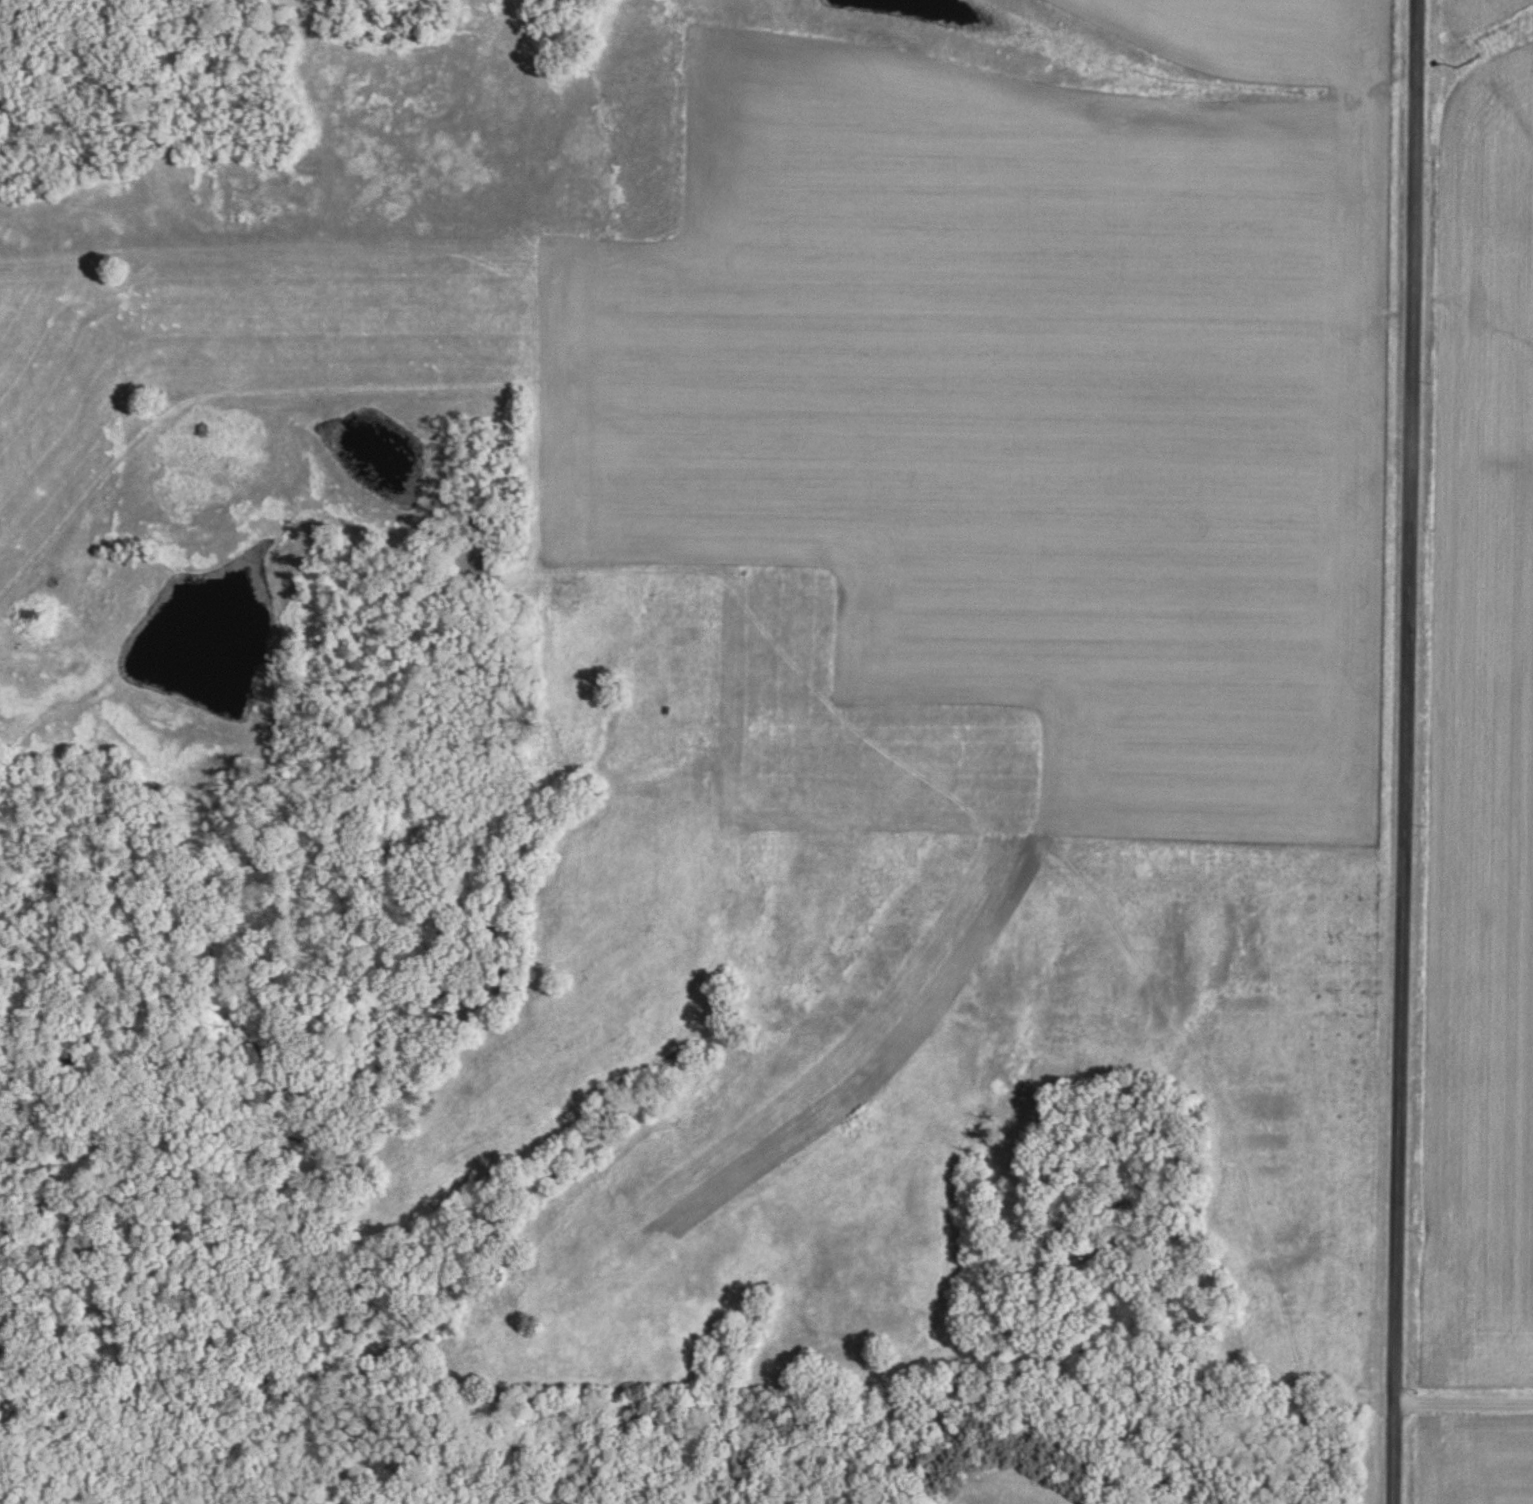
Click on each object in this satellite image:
road: (1408, 752)
road: (1464, 1405)

